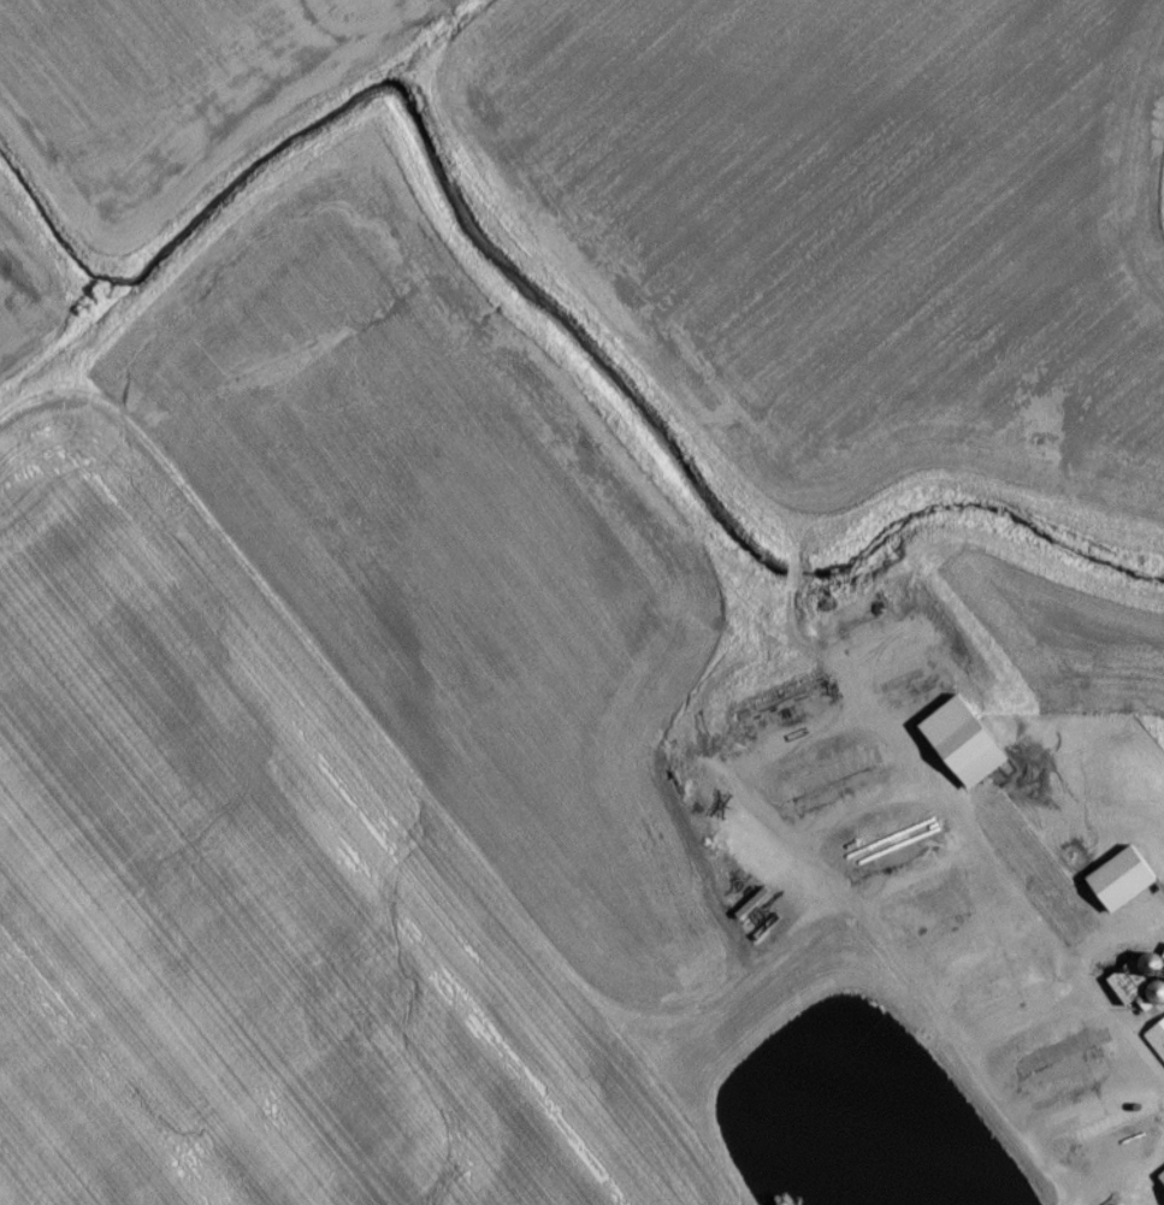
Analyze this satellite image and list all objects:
building: (973, 748)
building: (1128, 885)
building: (1158, 1044)
road: (1115, 1181)
building: (1162, 1181)

